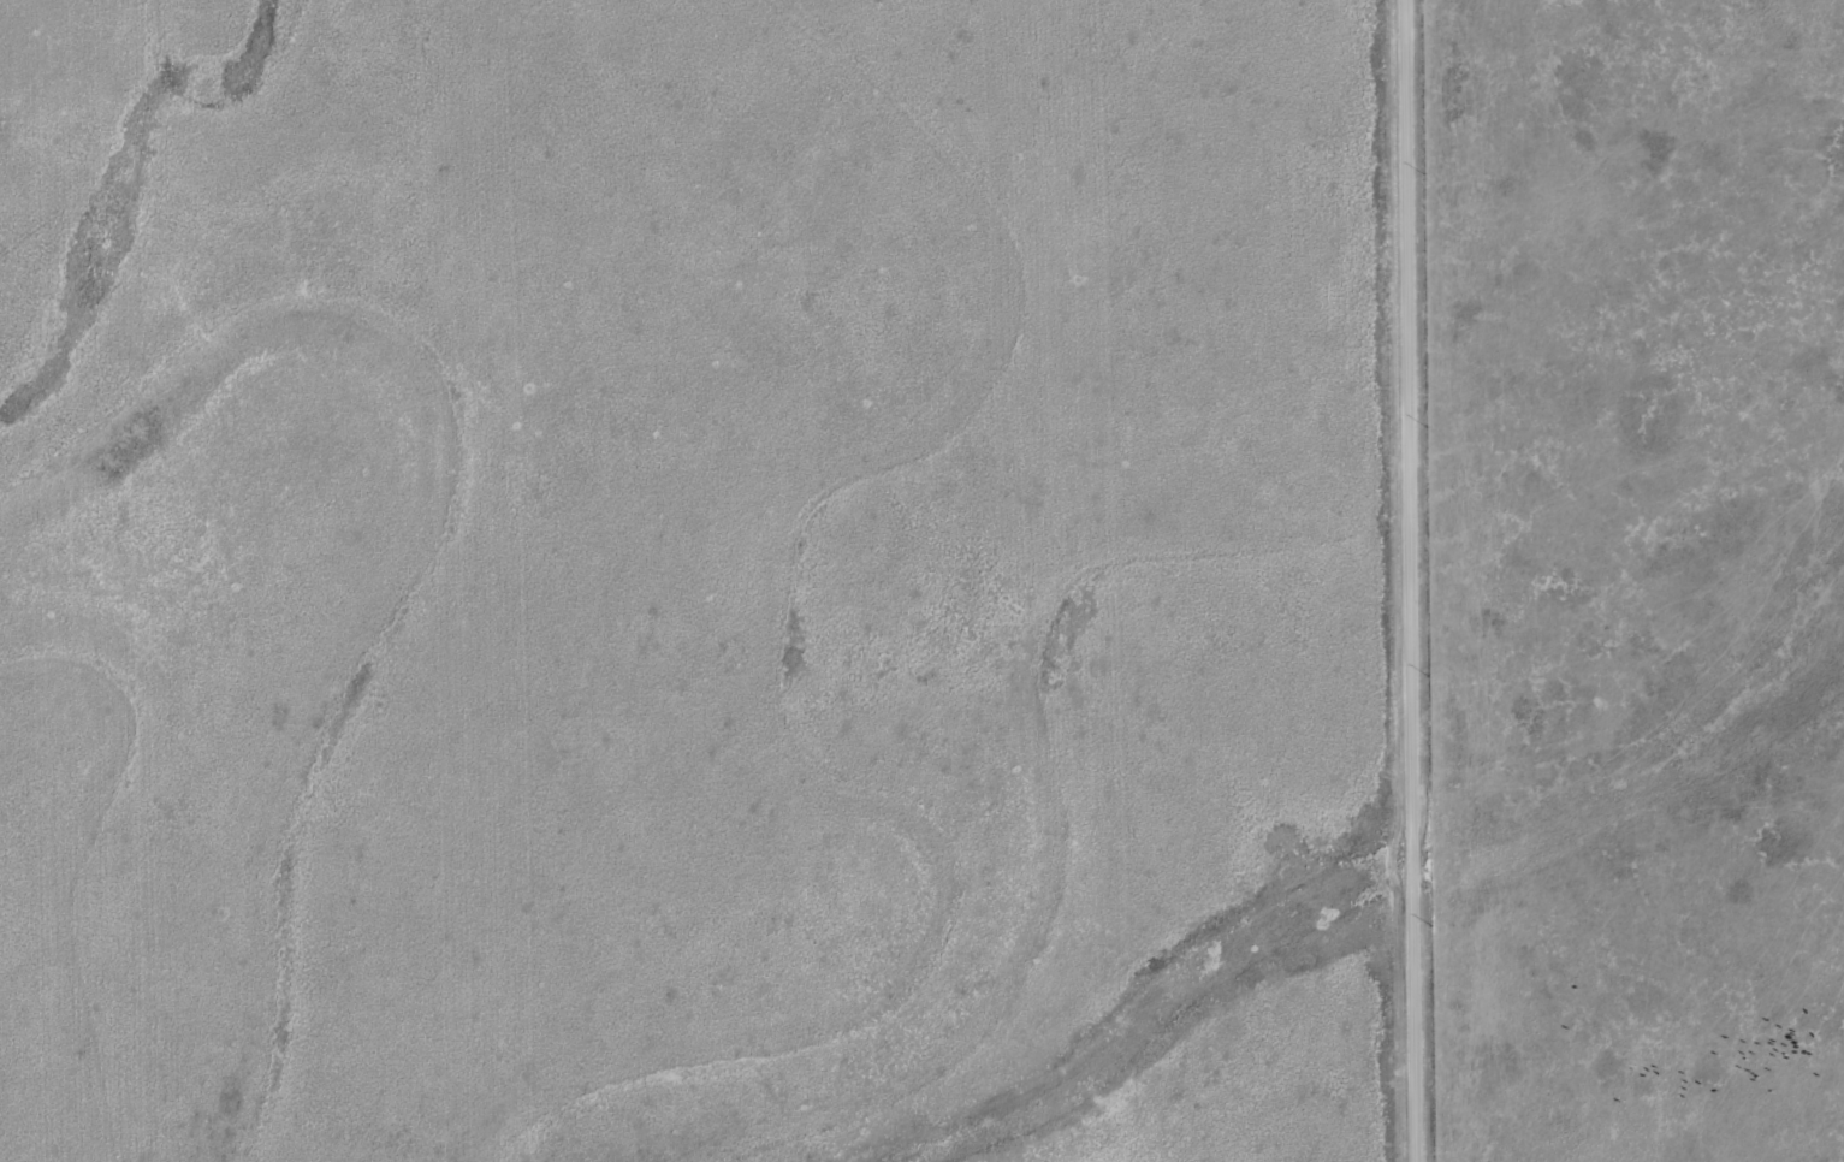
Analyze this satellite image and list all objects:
road: (1410, 581)

